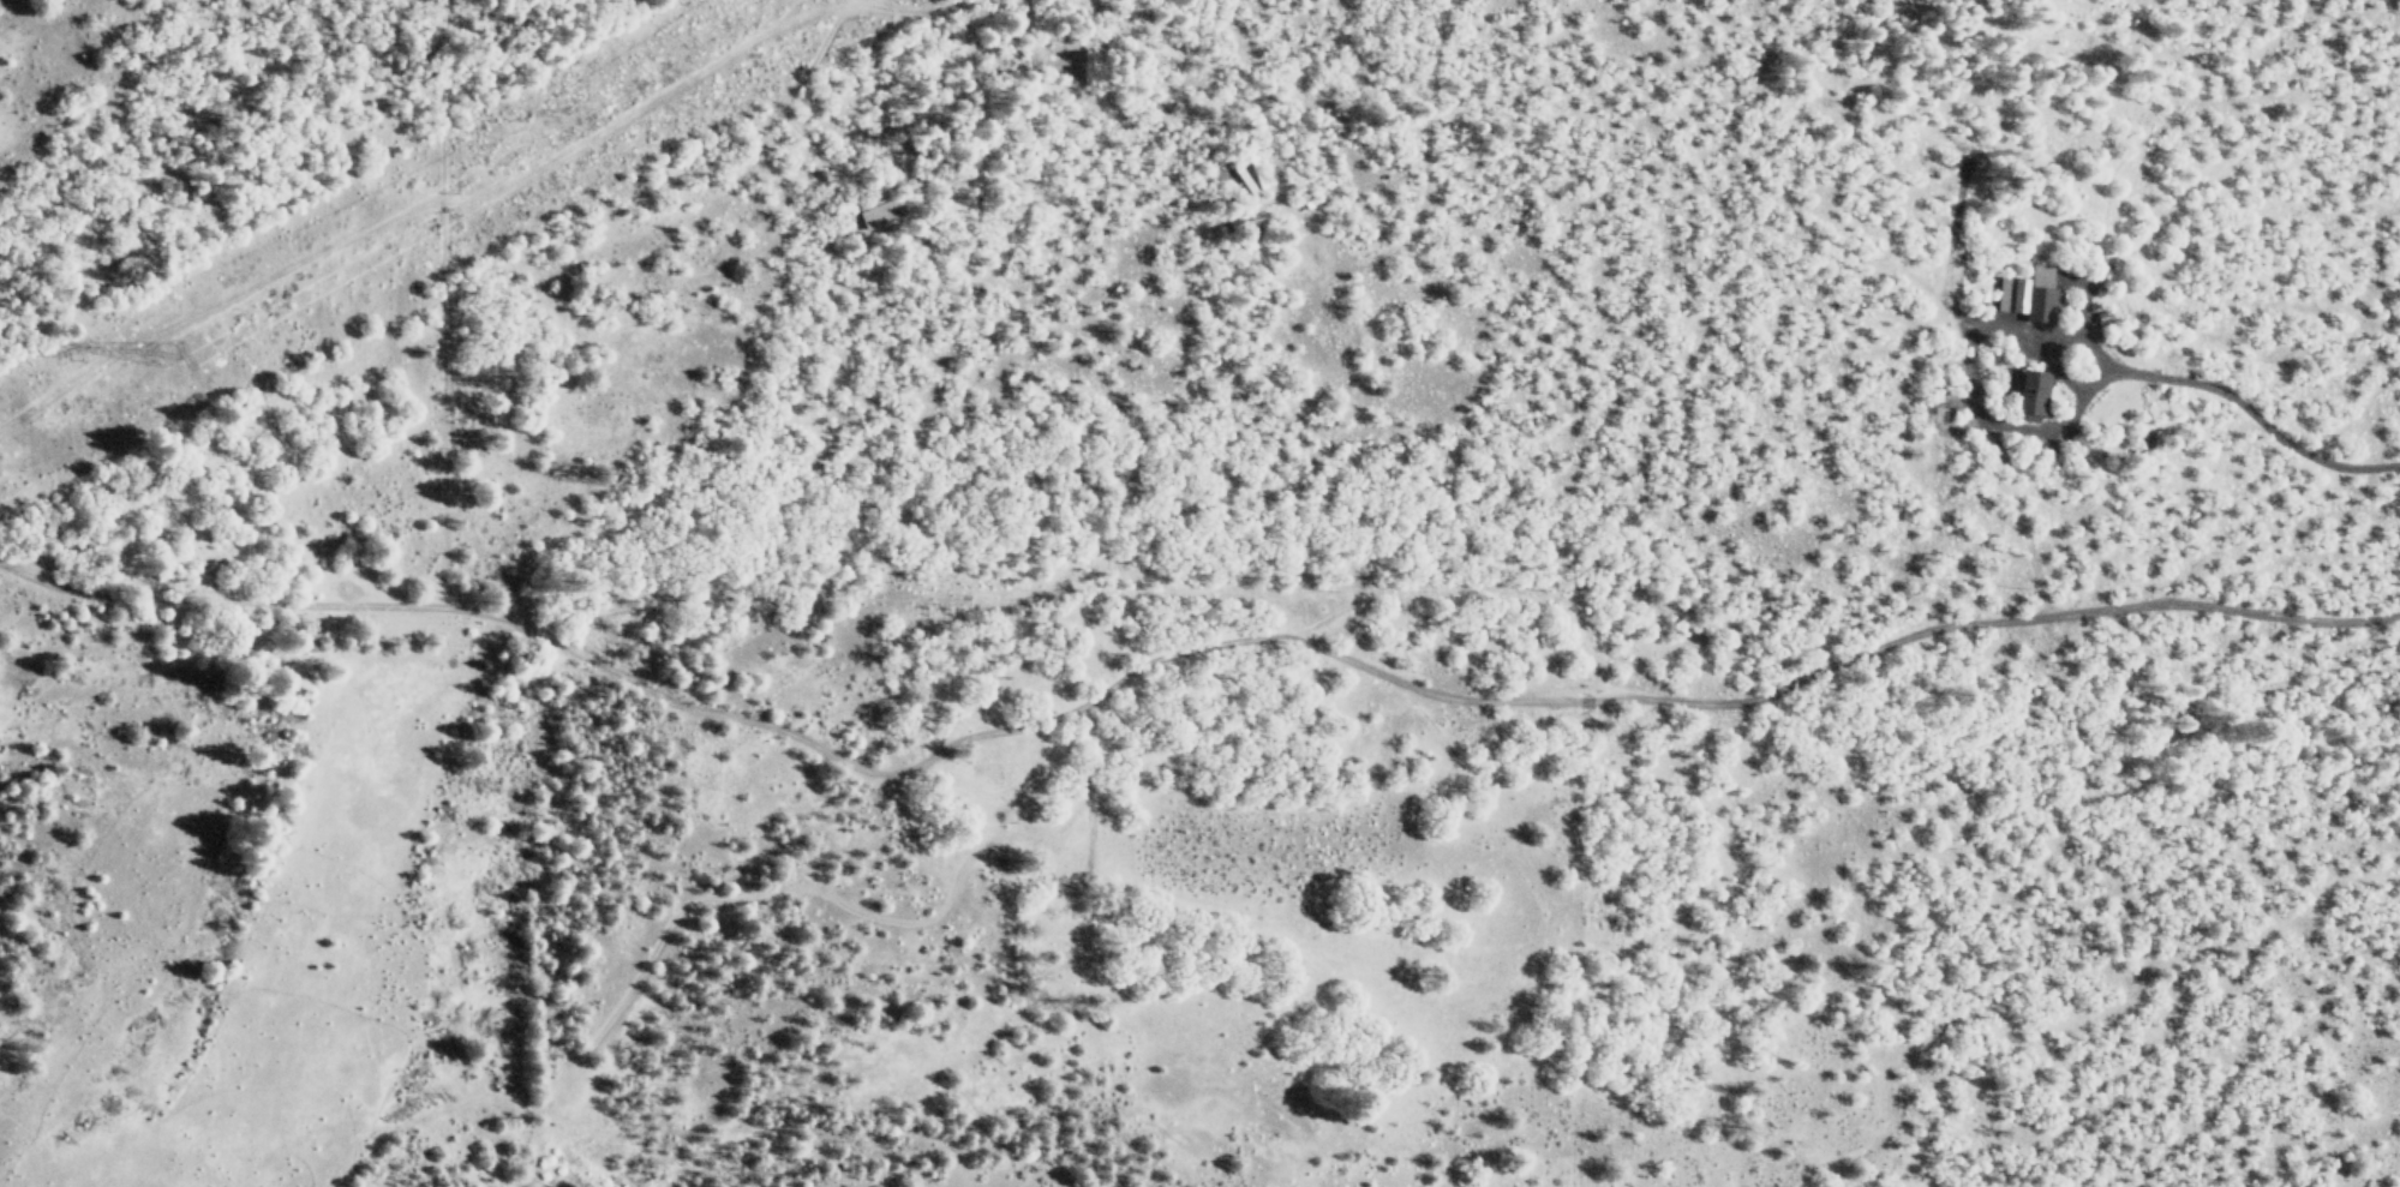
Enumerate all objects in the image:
building: (2029, 294)
power tower: (176, 346)
building: (2033, 394)
building: (1933, 413)
road: (1180, 653)
road: (905, 837)
road: (837, 901)

